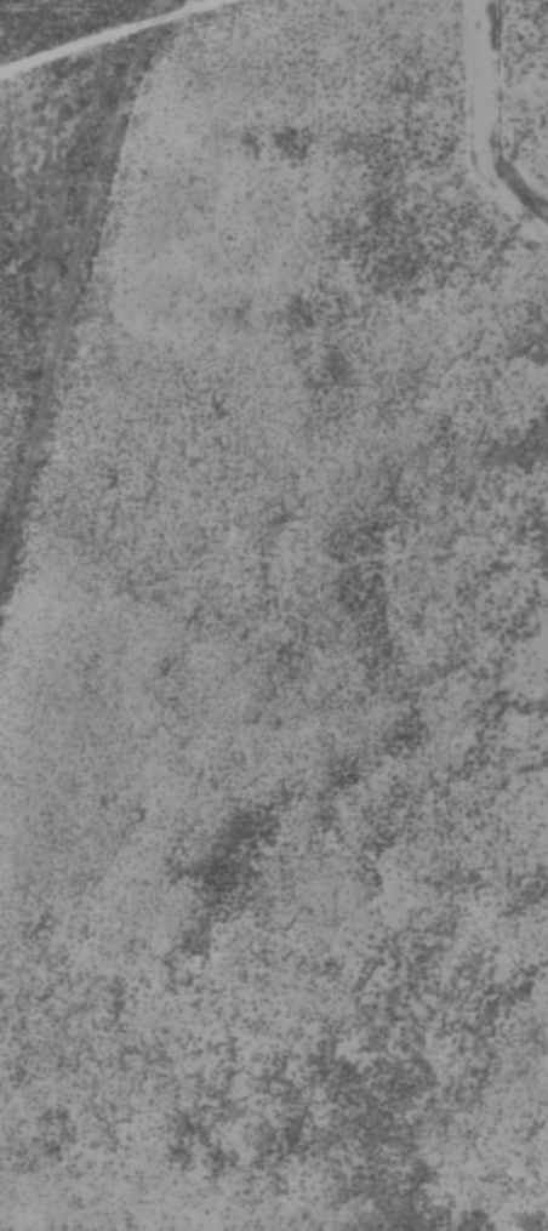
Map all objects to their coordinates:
road: (110, 36)

